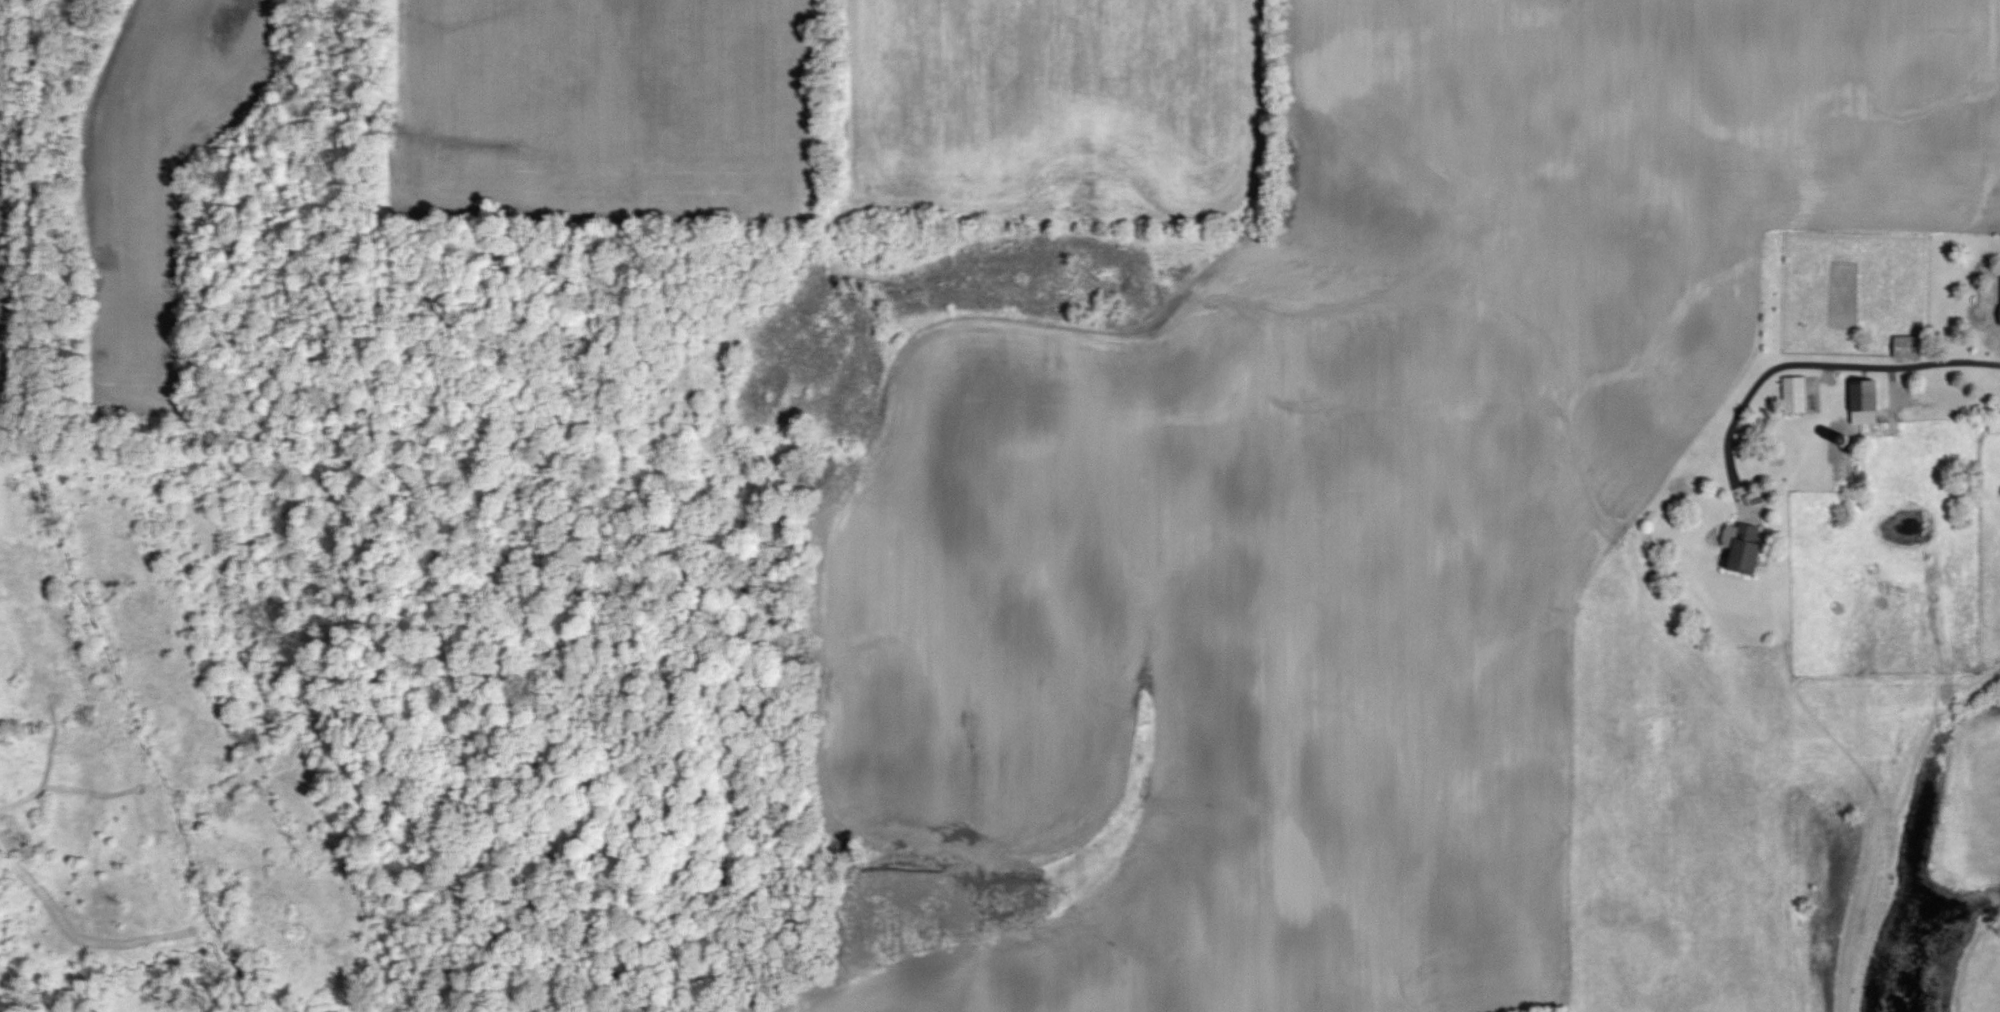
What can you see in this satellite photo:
building: (1910, 346)
road: (1807, 364)
building: (1798, 394)
building: (1868, 402)
building: (1746, 548)

